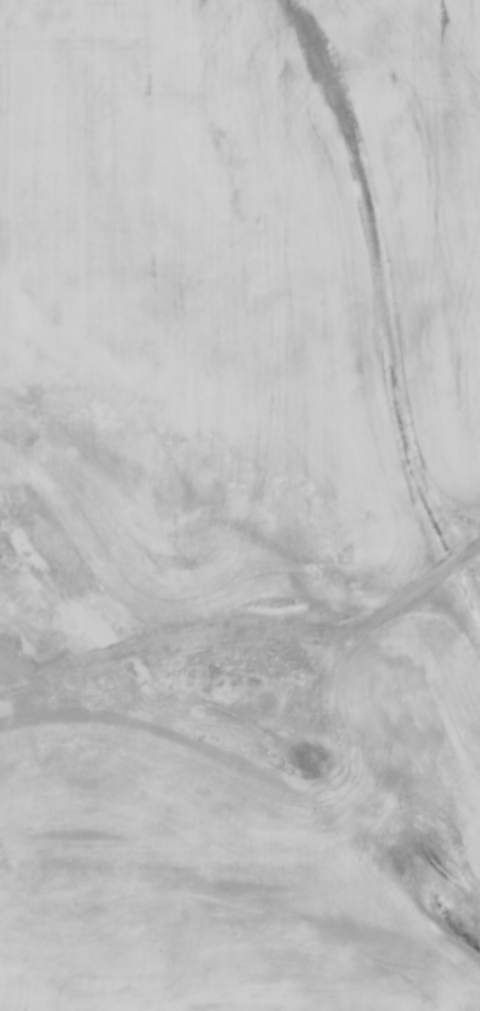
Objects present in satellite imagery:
quarry: (472, 535)
quarry: (194, 730)

